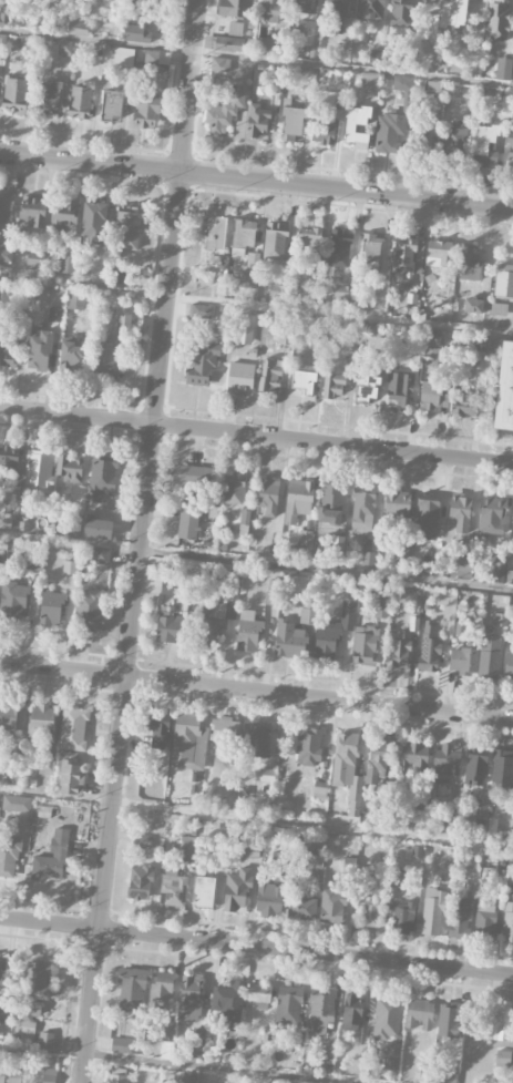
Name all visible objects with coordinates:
building: (306, 6)
building: (236, 8)
building: (370, 9)
building: (273, 10)
building: (451, 13)
building: (400, 14)
building: (332, 17)
building: (499, 23)
building: (430, 24)
building: (236, 29)
building: (135, 34)
building: (229, 43)
building: (64, 48)
building: (269, 48)
building: (316, 54)
building: (123, 57)
building: (157, 58)
building: (377, 58)
road: (256, 59)
building: (219, 67)
building: (504, 70)
building: (369, 79)
building: (402, 83)
building: (14, 94)
building: (48, 98)
building: (80, 101)
building: (111, 105)
building: (224, 112)
building: (146, 113)
building: (257, 121)
building: (291, 121)
building: (357, 126)
building: (325, 129)
building: (389, 133)
building: (421, 133)
building: (454, 142)
building: (485, 145)
building: (510, 152)
road: (256, 182)
building: (6, 210)
building: (32, 210)
building: (64, 221)
building: (93, 223)
building: (129, 227)
building: (214, 234)
building: (243, 237)
building: (275, 242)
building: (310, 247)
building: (371, 247)
building: (339, 248)
building: (439, 254)
building: (6, 255)
building: (408, 255)
building: (34, 262)
building: (469, 263)
building: (68, 264)
building: (503, 282)
building: (247, 285)
building: (343, 292)
building: (74, 300)
building: (473, 306)
road: (256, 308)
building: (199, 311)
building: (55, 315)
building: (20, 316)
building: (123, 324)
building: (432, 338)
building: (381, 348)
building: (40, 351)
building: (8, 354)
building: (70, 357)
building: (105, 359)
building: (202, 364)
building: (270, 375)
building: (239, 378)
building: (302, 381)
building: (334, 386)
building: (365, 386)
building: (400, 389)
building: (505, 390)
building: (430, 397)
building: (463, 401)
road: (256, 435)
building: (8, 462)
building: (69, 468)
building: (39, 471)
building: (192, 476)
building: (101, 480)
building: (233, 489)
building: (268, 497)
building: (298, 500)
building: (330, 502)
building: (397, 504)
building: (460, 512)
building: (492, 515)
building: (428, 517)
building: (188, 519)
building: (73, 522)
building: (244, 522)
building: (98, 529)
building: (512, 529)
road: (140, 541)
building: (306, 542)
building: (337, 544)
building: (100, 555)
building: (368, 559)
road: (256, 563)
building: (33, 564)
building: (430, 564)
building: (464, 566)
building: (69, 568)
building: (497, 569)
building: (170, 589)
building: (273, 594)
building: (13, 600)
building: (51, 607)
building: (349, 607)
building: (222, 609)
building: (309, 611)
building: (89, 612)
building: (500, 620)
building: (167, 625)
building: (461, 630)
building: (248, 632)
building: (290, 641)
building: (328, 641)
building: (363, 646)
building: (429, 648)
building: (399, 651)
building: (489, 656)
building: (464, 662)
building: (509, 666)
road: (256, 692)
building: (11, 716)
building: (42, 725)
building: (224, 728)
building: (73, 729)
building: (158, 729)
building: (258, 742)
building: (187, 744)
building: (308, 747)
building: (414, 756)
building: (378, 759)
building: (447, 762)
building: (476, 765)
building: (44, 766)
building: (502, 768)
building: (265, 772)
building: (347, 772)
building: (71, 778)
building: (320, 790)
building: (17, 804)
building: (480, 809)
building: (44, 811)
road: (256, 819)
building: (448, 823)
building: (492, 827)
building: (144, 842)
building: (187, 846)
building: (9, 856)
building: (279, 857)
building: (51, 859)
building: (396, 878)
building: (140, 882)
building: (173, 888)
building: (203, 891)
building: (236, 891)
building: (512, 896)
building: (268, 900)
building: (302, 906)
building: (332, 907)
building: (369, 913)
building: (431, 913)
building: (402, 916)
building: (459, 920)
building: (507, 923)
road: (256, 944)
building: (0, 970)
building: (35, 989)
building: (132, 989)
building: (162, 990)
building: (259, 995)
building: (189, 999)
building: (288, 1005)
building: (320, 1008)
building: (352, 1013)
building: (419, 1015)
building: (6, 1016)
building: (386, 1018)
building: (448, 1020)
building: (501, 1020)
building: (166, 1031)
building: (45, 1040)
building: (197, 1043)
building: (121, 1045)
building: (391, 1056)
building: (503, 1058)
road: (173, 1063)
building: (421, 1074)
building: (48, 1075)
building: (116, 1075)
building: (449, 1076)
building: (188, 1077)
building: (1, 1079)
building: (223, 1082)

